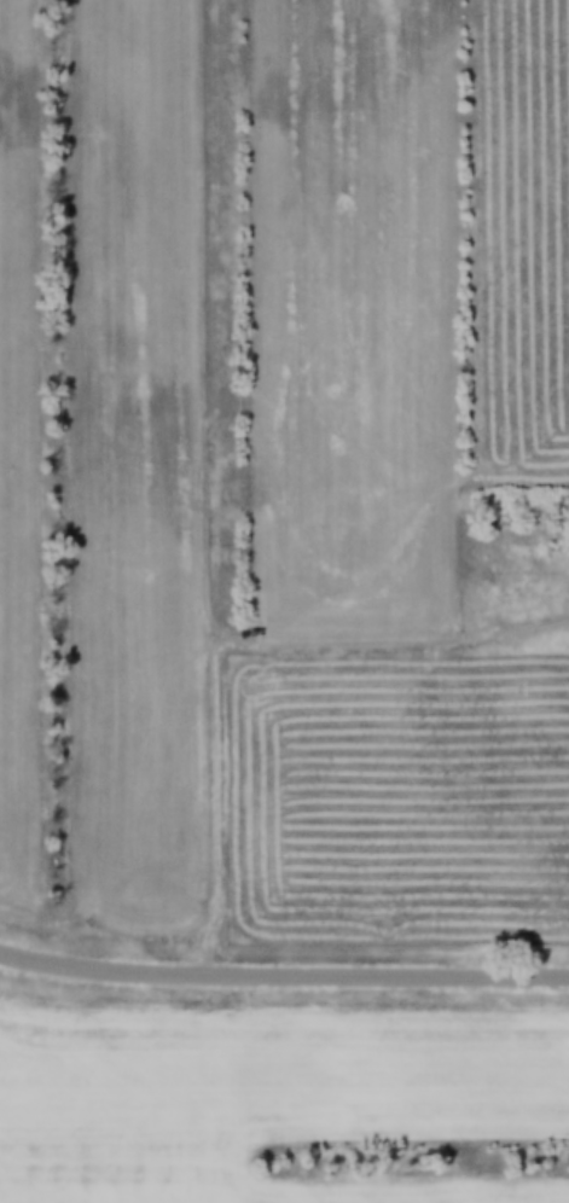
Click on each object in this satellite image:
road: (283, 977)

